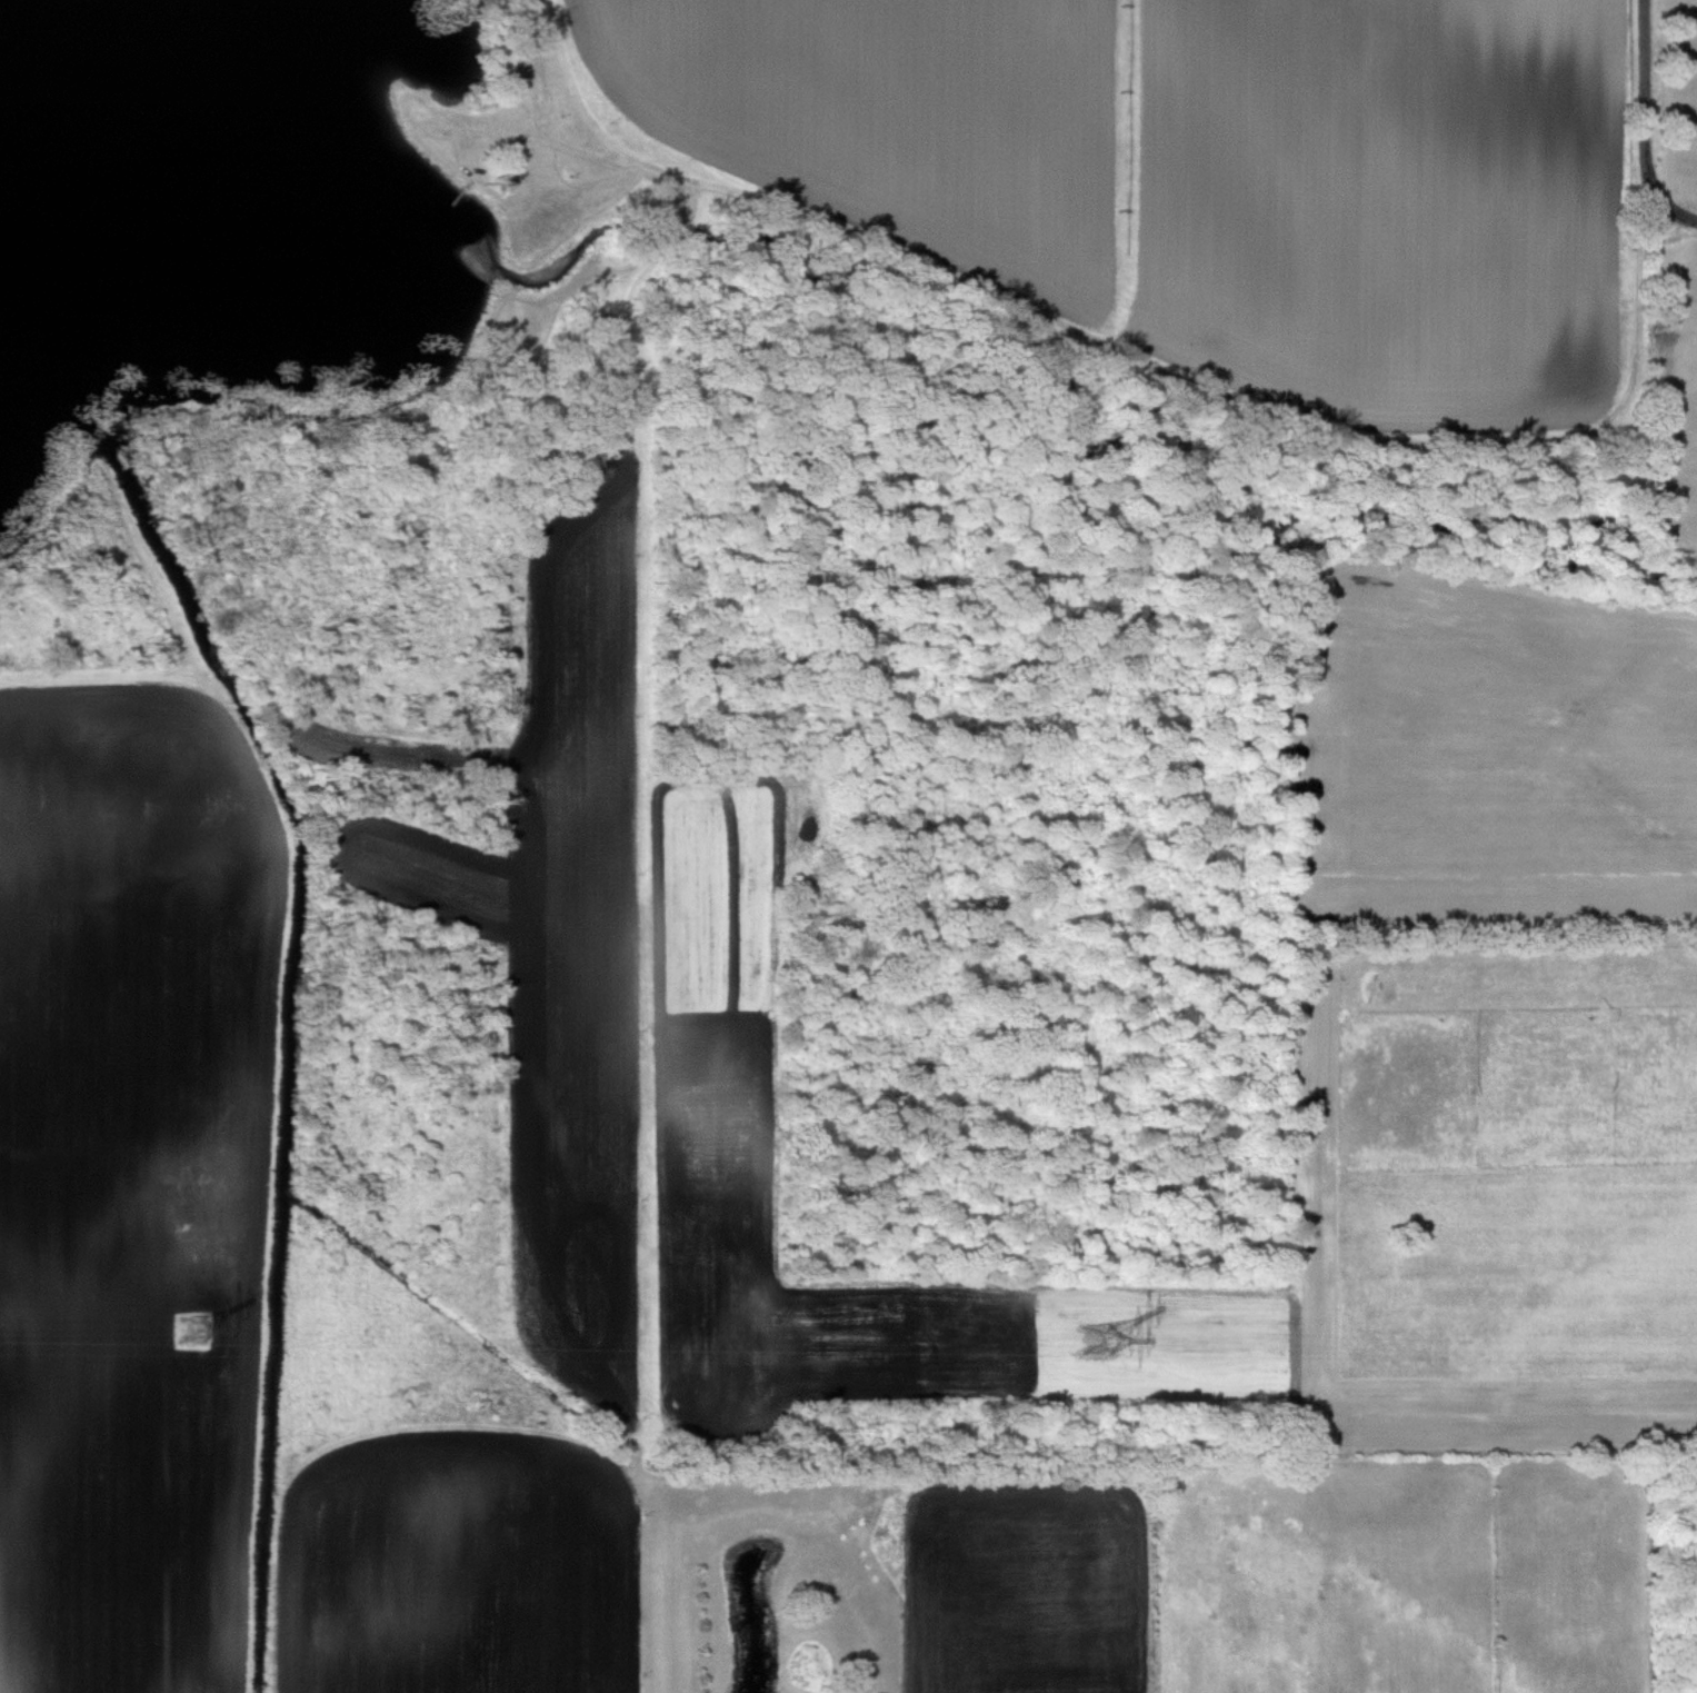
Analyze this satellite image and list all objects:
road: (1648, 89)
road: (1669, 203)
building: (517, 246)
power tower: (196, 1328)
power tower: (1098, 1341)

